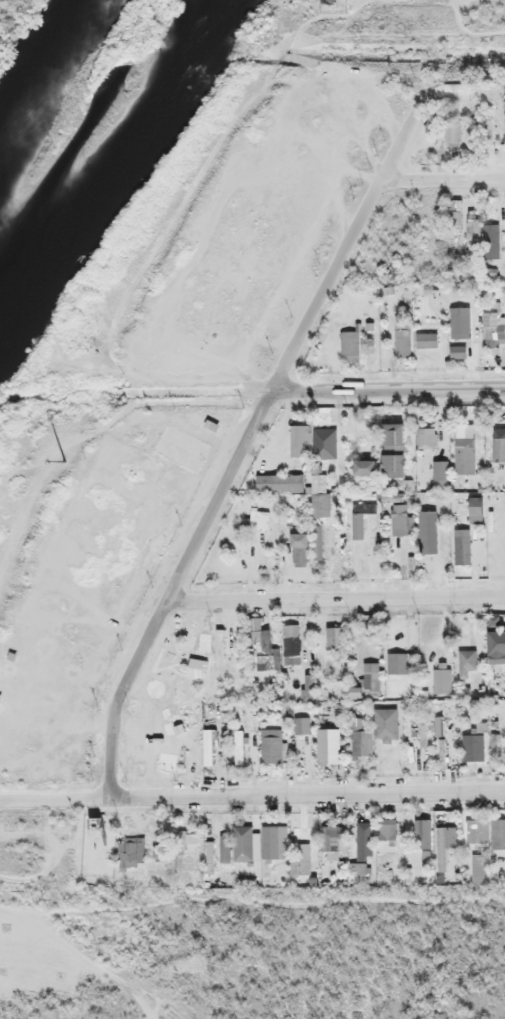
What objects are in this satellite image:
river: (133, 40)
building: (453, 129)
road: (446, 169)
river: (49, 184)
building: (492, 241)
building: (504, 317)
building: (461, 319)
building: (491, 324)
building: (427, 337)
building: (405, 340)
building: (357, 343)
building: (459, 350)
road: (320, 387)
road: (252, 430)
building: (427, 436)
building: (314, 440)
building: (498, 446)
building: (184, 447)
building: (465, 453)
building: (393, 460)
building: (365, 462)
building: (442, 469)
building: (280, 481)
building: (323, 502)
building: (363, 516)
building: (401, 517)
building: (428, 528)
building: (319, 539)
building: (297, 545)
road: (337, 590)
building: (496, 642)
building: (283, 648)
building: (401, 660)
building: (466, 662)
building: (370, 677)
building: (301, 723)
building: (361, 735)
building: (330, 742)
building: (273, 744)
building: (472, 744)
road: (310, 791)
building: (388, 829)
building: (477, 830)
building: (498, 831)
building: (334, 833)
building: (188, 839)
building: (365, 839)
building: (276, 841)
building: (446, 844)
building: (133, 850)
building: (302, 858)

